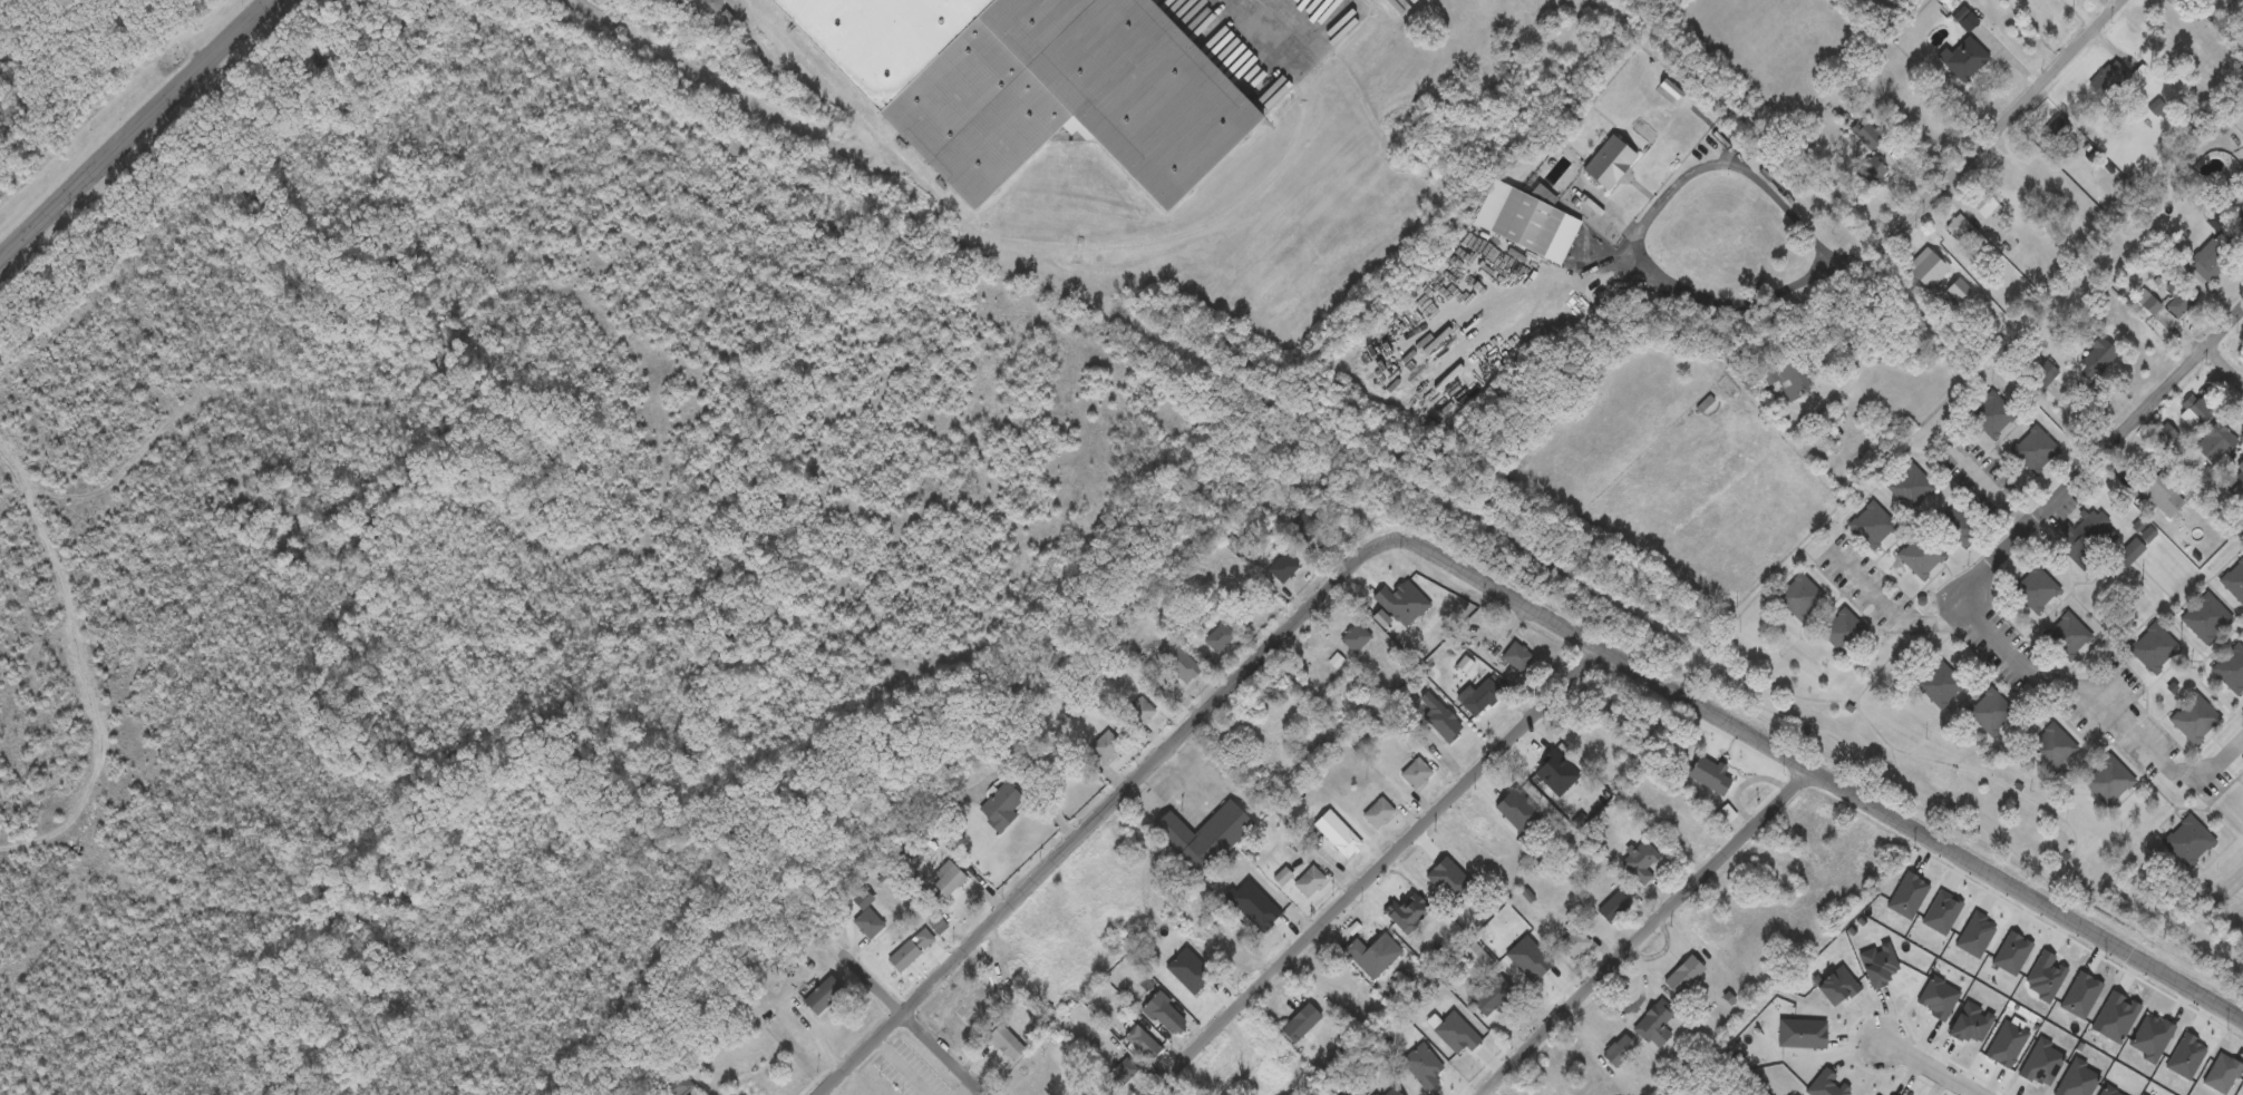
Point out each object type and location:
building: (708, 6)
building: (1965, 60)
building: (2110, 81)
building: (1029, 86)
building: (2161, 110)
road: (2002, 124)
road: (132, 127)
building: (2049, 127)
building: (1868, 136)
building: (1609, 164)
building: (1873, 173)
building: (2012, 186)
road: (1654, 203)
building: (1983, 205)
building: (2242, 215)
building: (1526, 222)
building: (1963, 232)
building: (2213, 258)
building: (1928, 270)
building: (1960, 291)
building: (2179, 299)
building: (2155, 311)
road: (1863, 343)
building: (2101, 353)
road: (2224, 365)
building: (2045, 375)
building: (1789, 378)
building: (2197, 410)
building: (1992, 414)
road: (2140, 415)
building: (2216, 444)
building: (2037, 449)
building: (2240, 467)
building: (1912, 489)
building: (2239, 489)
road: (1992, 490)
building: (2164, 497)
building: (1309, 525)
building: (1873, 526)
building: (1961, 528)
building: (2088, 539)
building: (2130, 553)
building: (1922, 556)
road: (1991, 567)
building: (1283, 568)
building: (2234, 581)
building: (2037, 590)
building: (1802, 598)
building: (2206, 619)
building: (1846, 634)
building: (1220, 638)
building: (2066, 638)
building: (1357, 639)
building: (2154, 649)
building: (1514, 662)
building: (1179, 663)
building: (2231, 669)
road: (2033, 676)
building: (1941, 685)
building: (1482, 698)
building: (1140, 714)
building: (1992, 714)
building: (1440, 720)
building: (2195, 721)
building: (1107, 746)
building: (2052, 747)
road: (1807, 768)
building: (1417, 774)
building: (1710, 776)
building: (2109, 782)
building: (1001, 808)
building: (1379, 814)
road: (1091, 822)
building: (1338, 835)
building: (1204, 838)
building: (2188, 842)
building: (1641, 861)
road: (1371, 871)
building: (949, 881)
building: (1310, 882)
building: (1615, 905)
building: (868, 923)
road: (1645, 931)
building: (1575, 945)
building: (912, 949)
building: (1375, 955)
building: (1684, 976)
building: (824, 996)
building: (1494, 998)
building: (1165, 1014)
road: (909, 1020)
building: (1301, 1024)
building: (1657, 1024)
building: (1007, 1043)
building: (1143, 1044)
building: (1619, 1050)
building: (758, 1053)
road: (1928, 1068)
building: (1125, 1072)
building: (2223, 1074)
building: (677, 1086)

